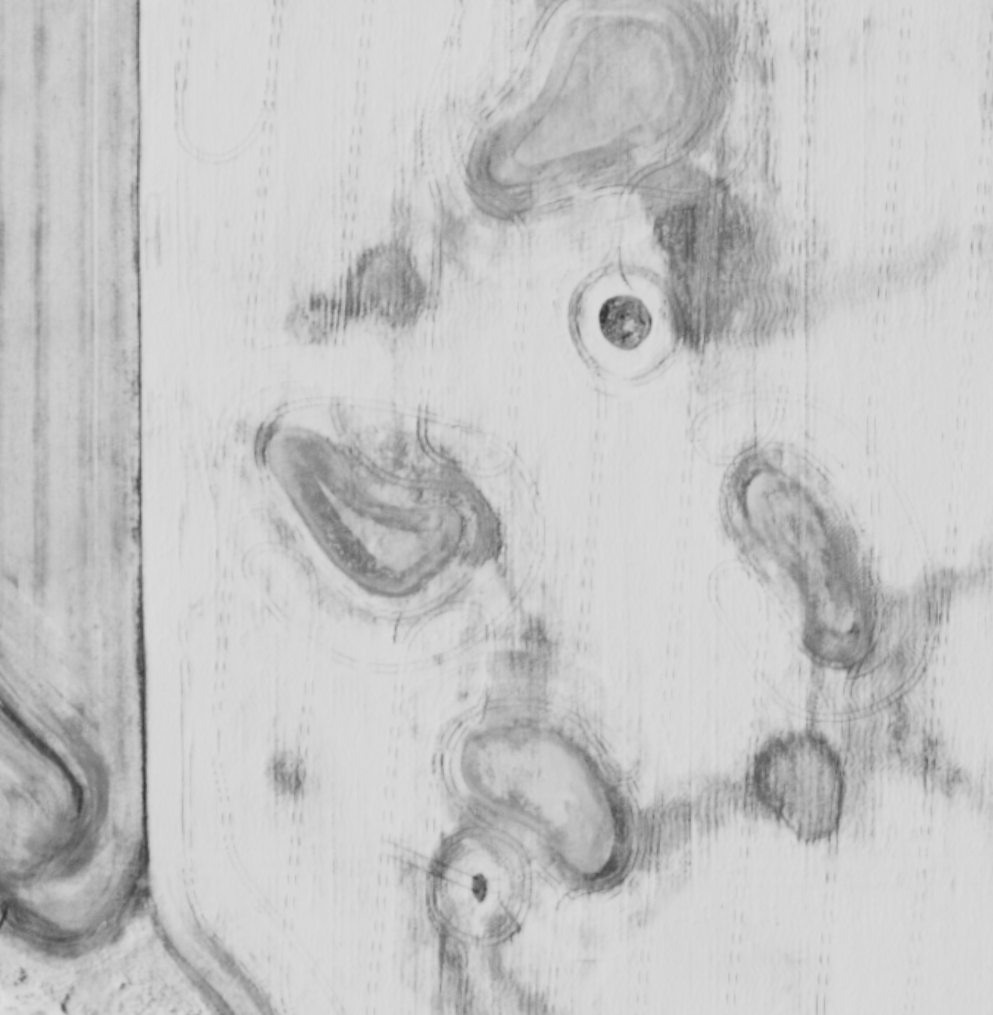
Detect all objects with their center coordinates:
road: (145, 455)
power tower: (476, 885)

